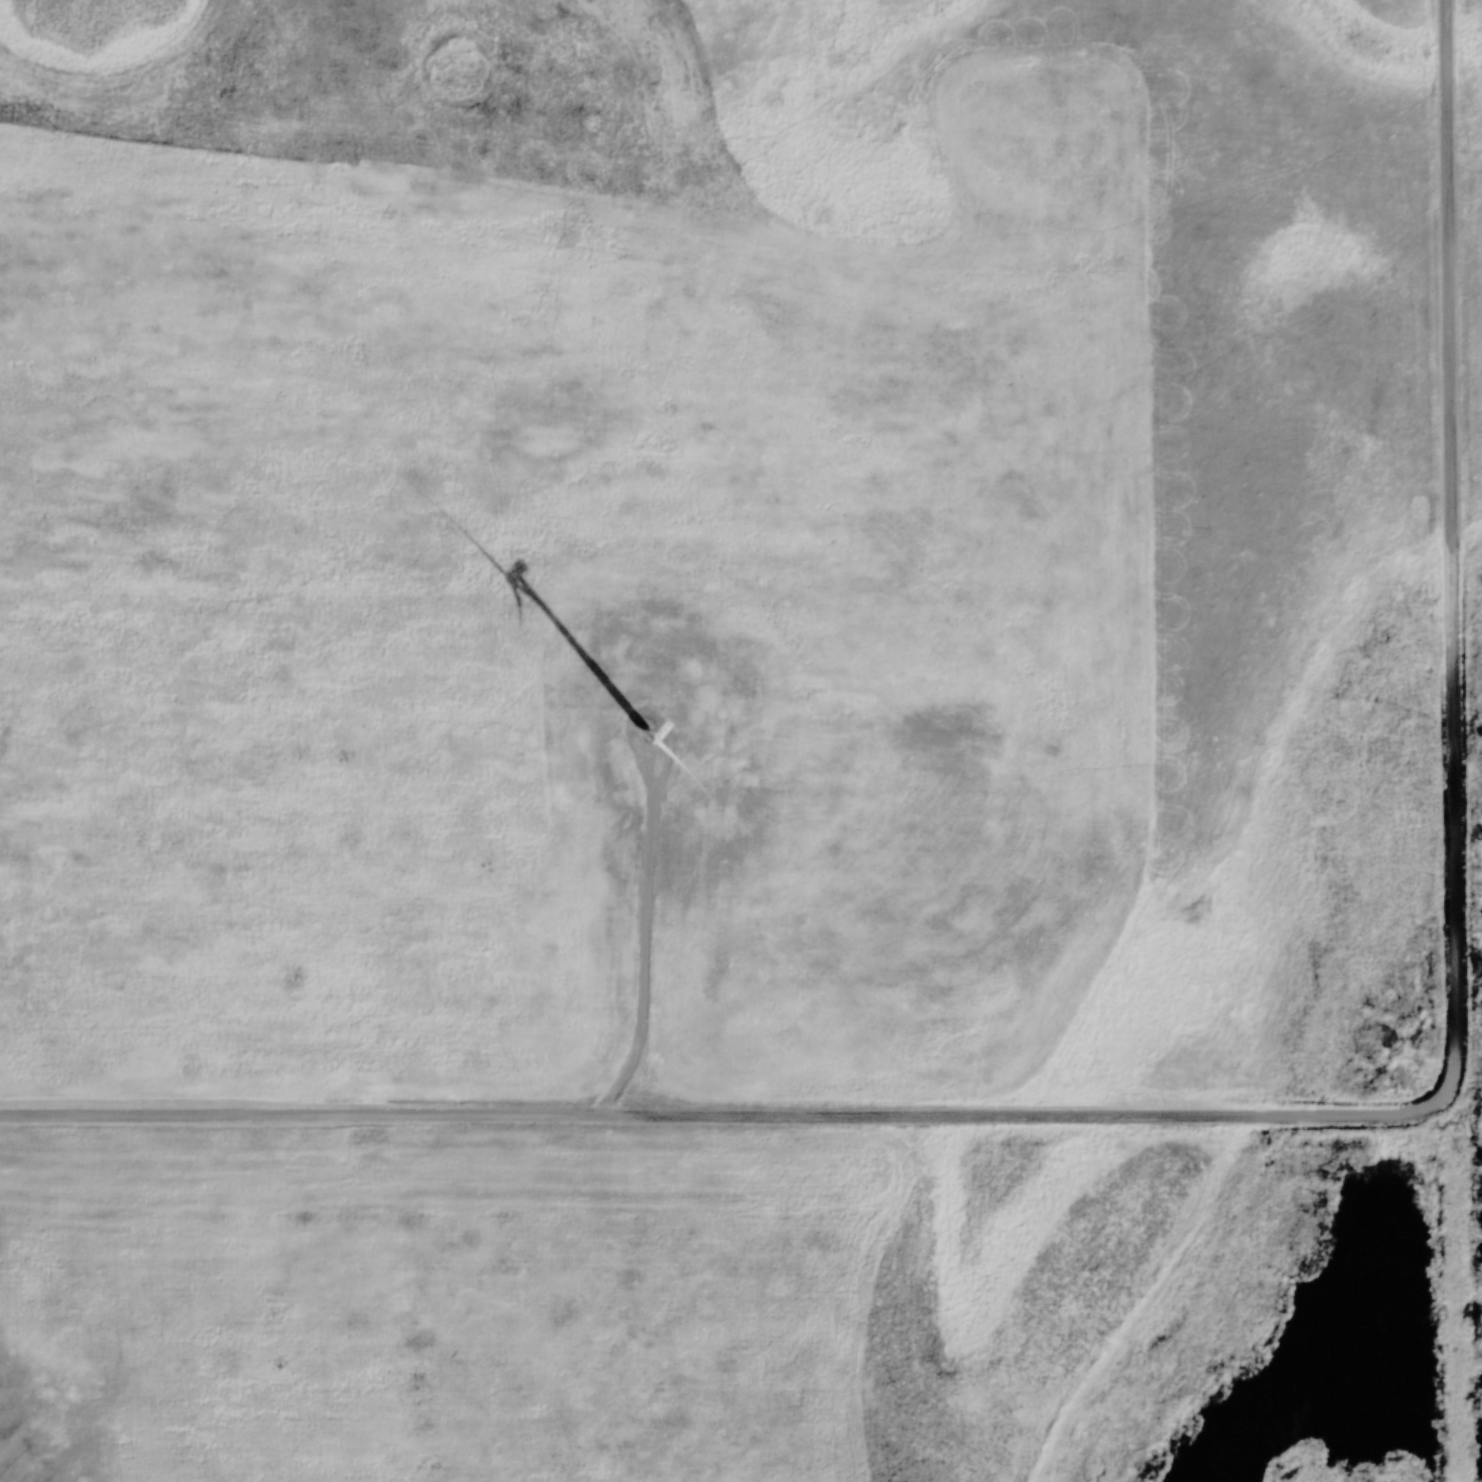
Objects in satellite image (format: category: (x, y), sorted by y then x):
road: (1445, 550)
wind turbine: (642, 737)
road: (723, 1108)

